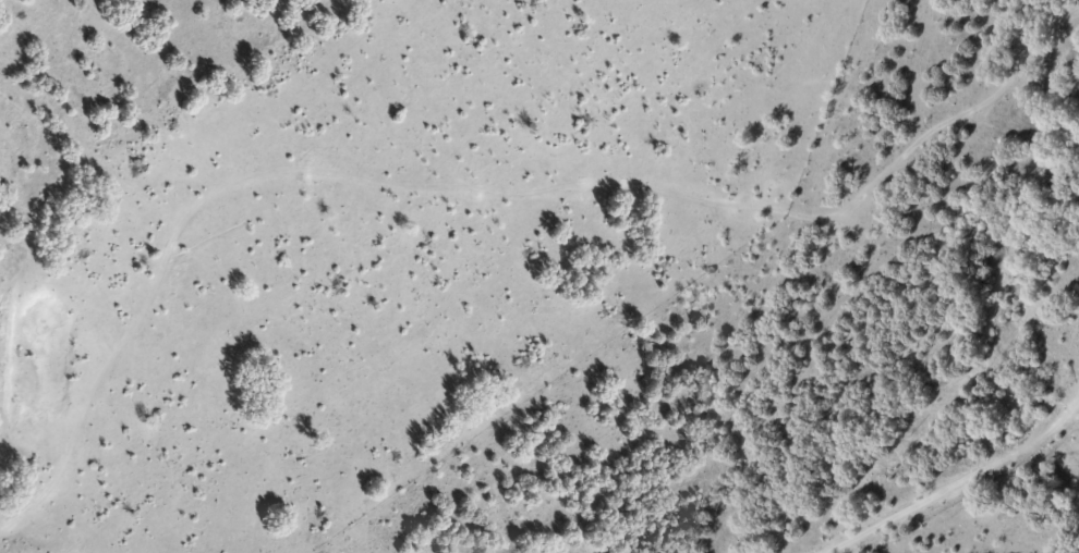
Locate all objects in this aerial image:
road: (979, 476)

